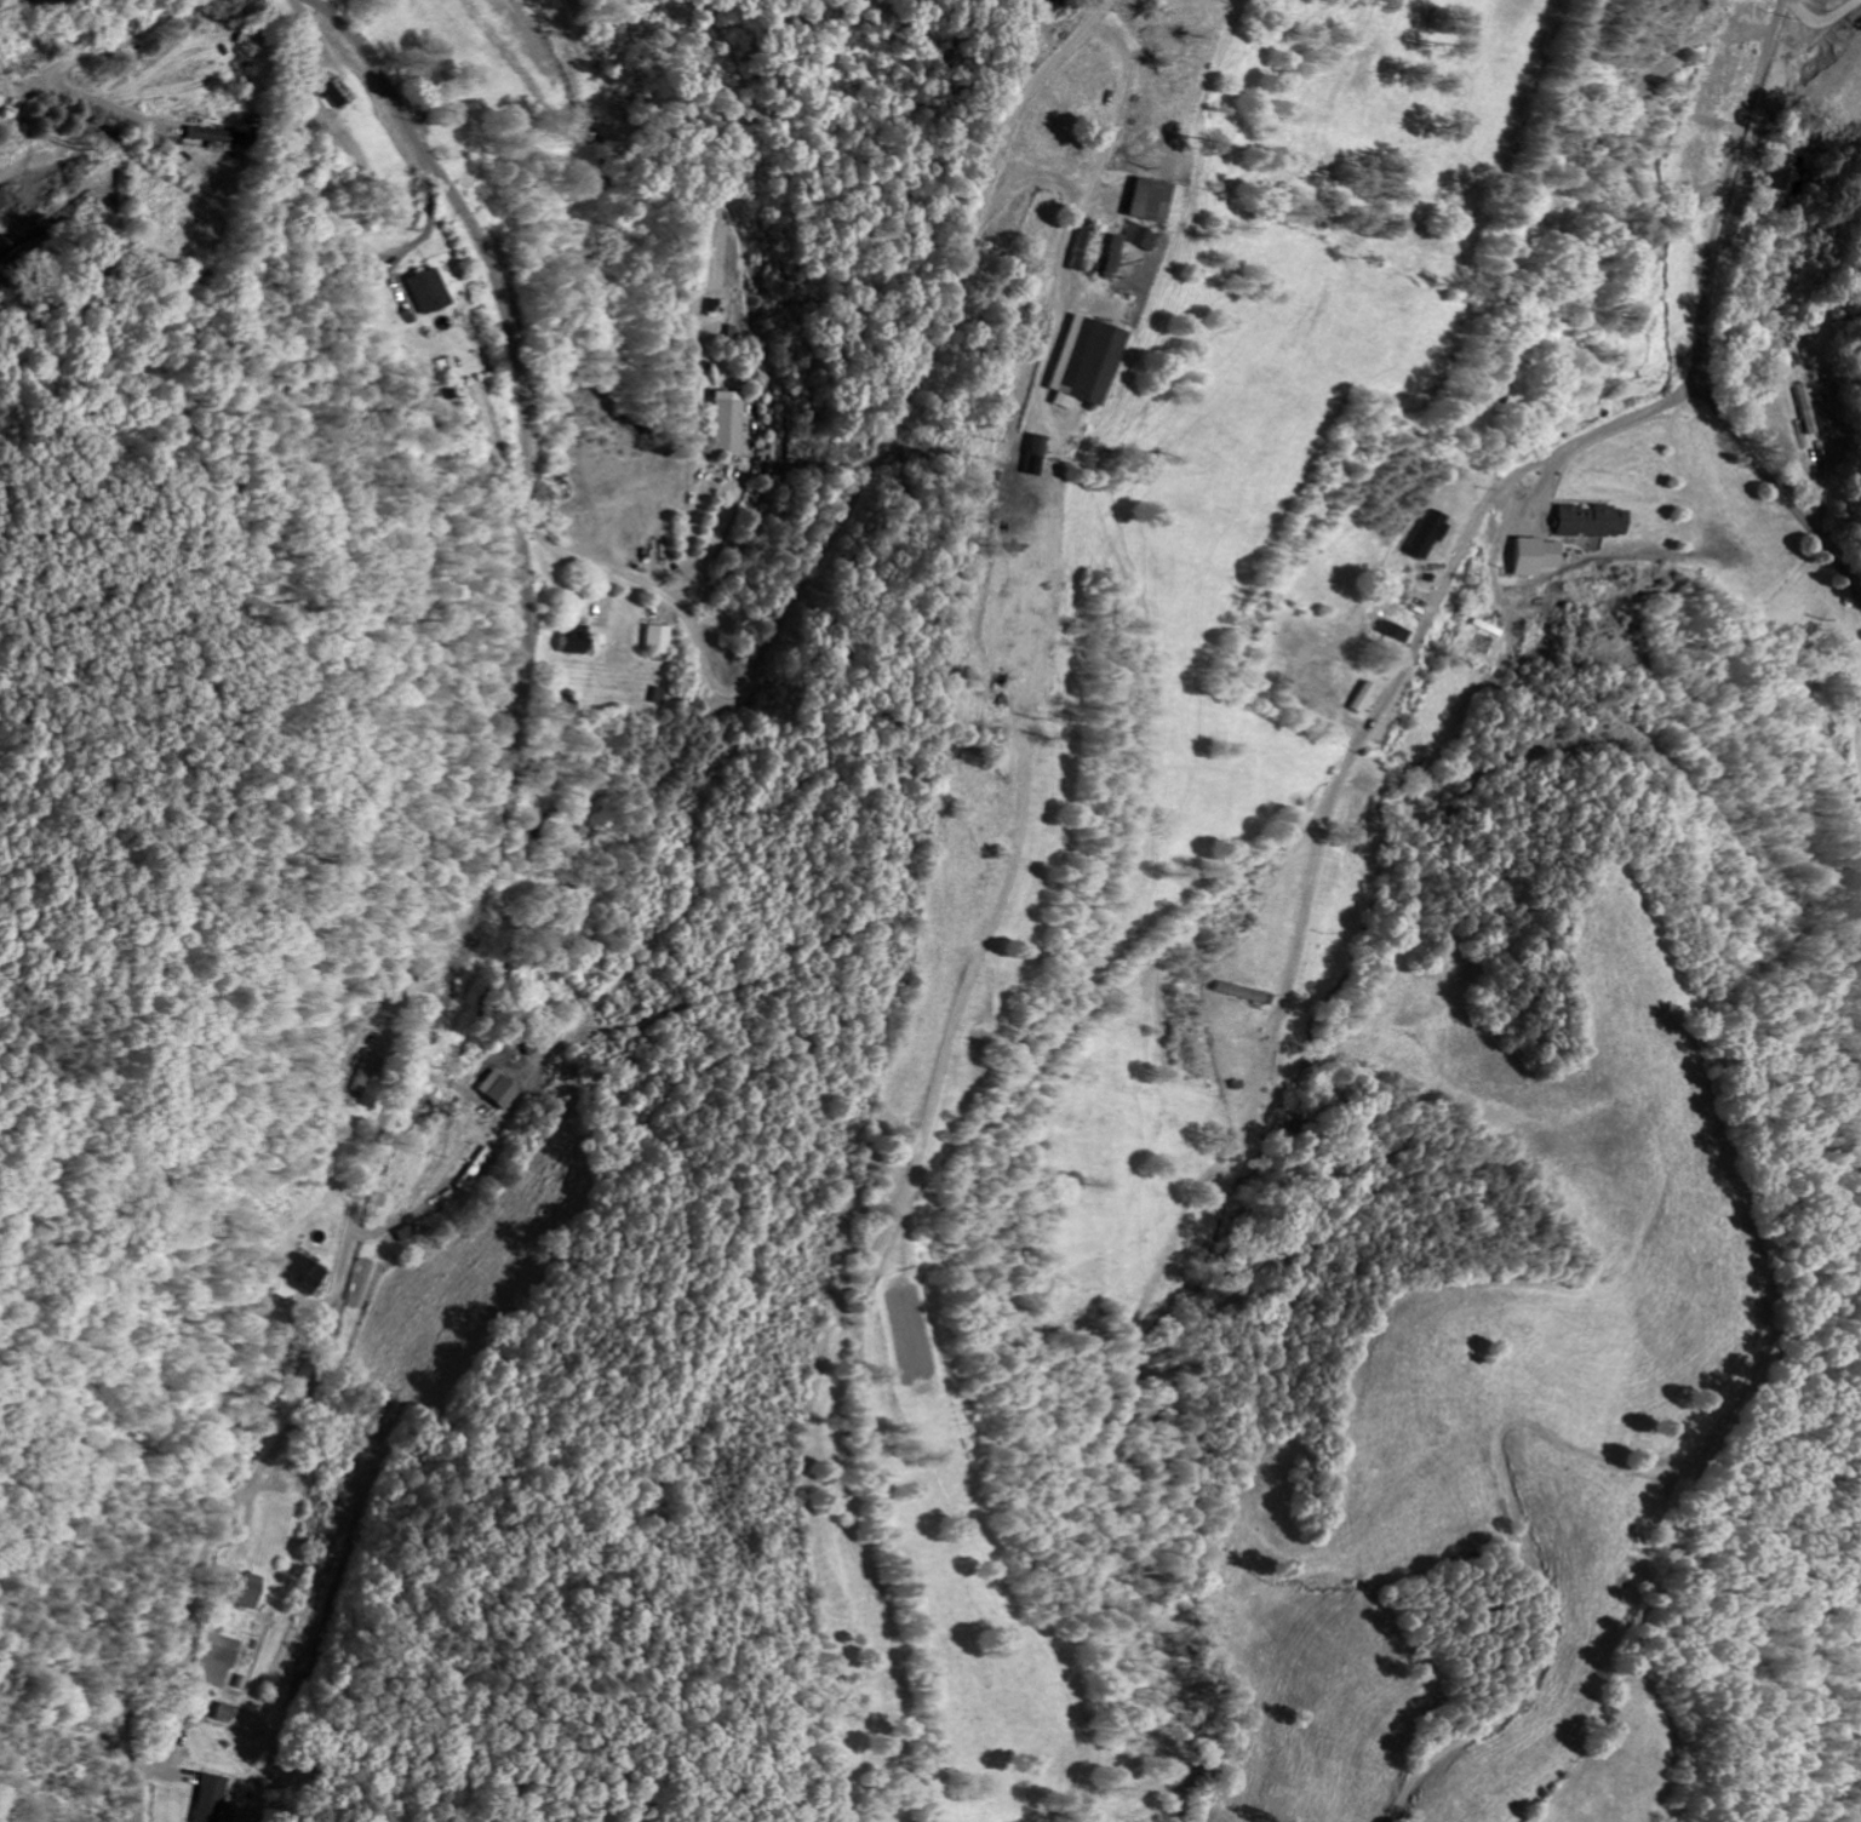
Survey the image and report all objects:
road: (315, 27)
road: (58, 63)
building: (328, 88)
building: (1783, 171)
road: (1036, 178)
building: (1140, 199)
road: (1096, 213)
building: (1135, 237)
road: (420, 239)
building: (1104, 256)
road: (1707, 274)
building: (426, 290)
building: (1078, 362)
building: (1799, 408)
building: (721, 423)
road: (869, 470)
building: (1587, 520)
building: (1420, 533)
road: (710, 540)
building: (1529, 555)
road: (1836, 561)
building: (1387, 630)
building: (652, 638)
road: (1410, 648)
building: (1859, 706)
road: (466, 910)
building: (492, 1090)
building: (300, 1273)
building: (245, 1591)
building: (205, 1799)

